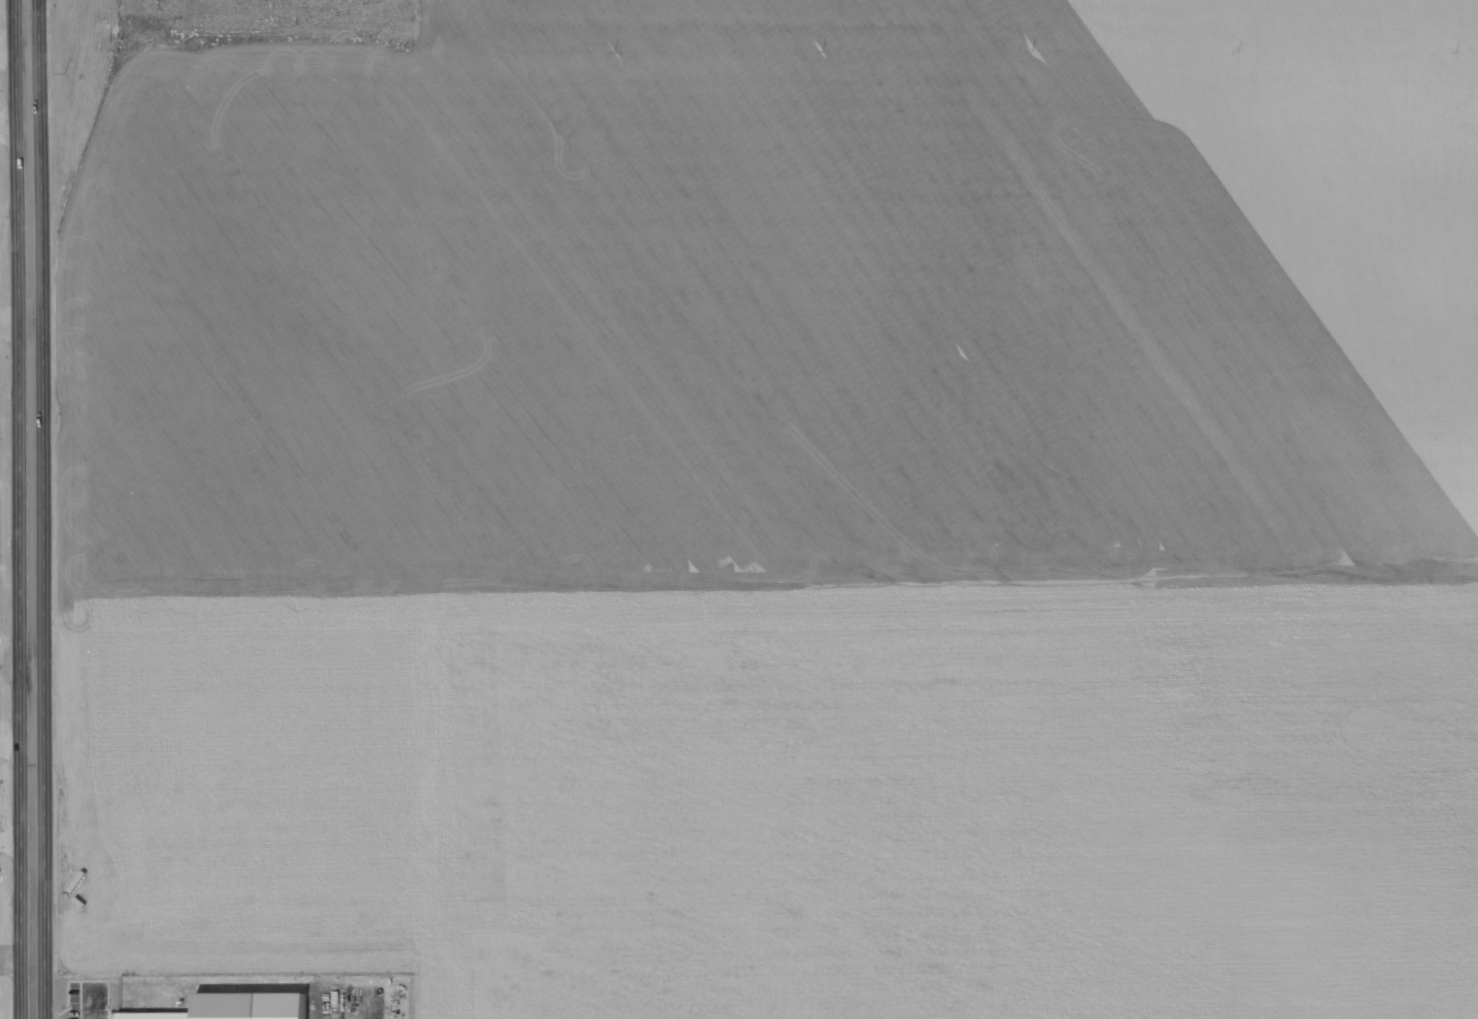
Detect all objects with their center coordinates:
road: (26, 509)
building: (236, 1007)

